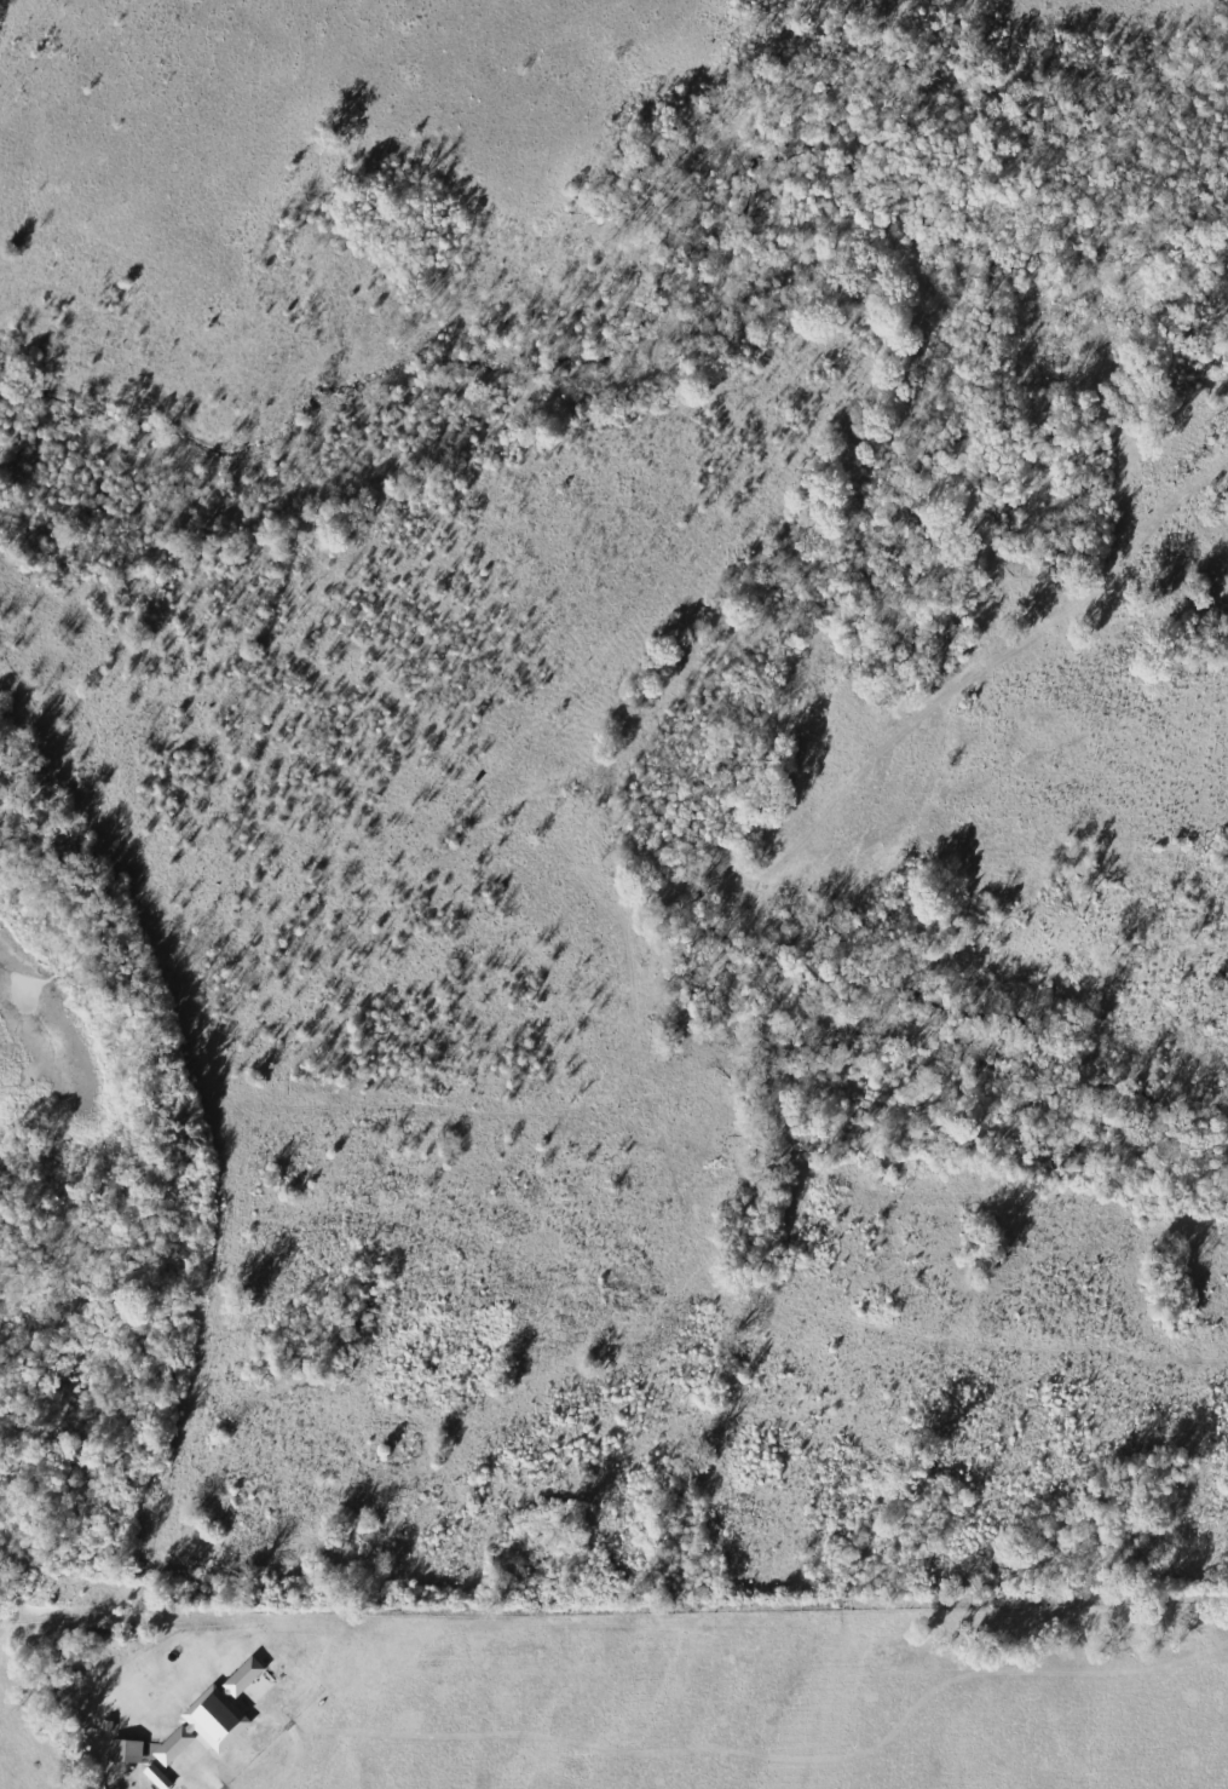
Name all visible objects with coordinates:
building: (129, 1750)
building: (161, 1777)

